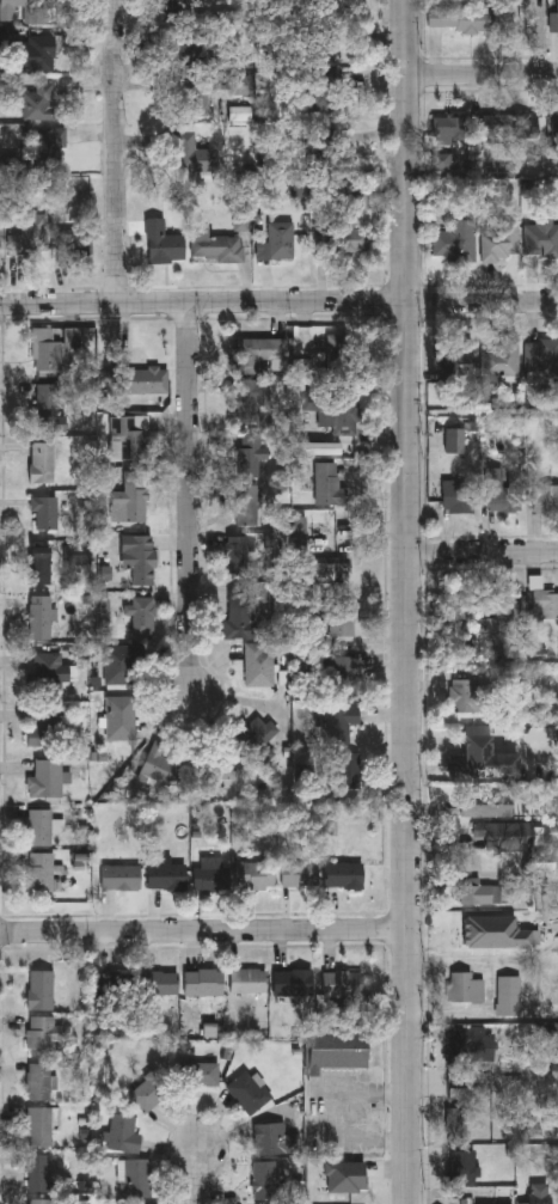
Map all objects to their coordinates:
building: (176, 4)
building: (327, 4)
building: (24, 10)
building: (436, 19)
building: (474, 22)
building: (553, 23)
road: (541, 37)
building: (41, 53)
road: (483, 75)
building: (41, 102)
building: (507, 126)
building: (554, 126)
building: (447, 128)
building: (192, 151)
road: (116, 152)
building: (354, 196)
building: (441, 206)
building: (343, 239)
building: (540, 239)
building: (498, 240)
building: (29, 242)
building: (163, 242)
building: (276, 242)
building: (455, 242)
building: (74, 245)
building: (216, 245)
building: (0, 247)
road: (483, 302)
road: (203, 304)
building: (48, 349)
building: (251, 355)
building: (343, 357)
building: (541, 359)
building: (454, 361)
building: (501, 362)
building: (145, 380)
building: (252, 399)
building: (49, 409)
building: (335, 411)
building: (125, 438)
building: (454, 441)
building: (317, 450)
building: (250, 454)
building: (42, 463)
building: (327, 484)
building: (458, 496)
building: (503, 496)
building: (131, 497)
road: (192, 497)
building: (545, 499)
building: (245, 505)
building: (45, 512)
road: (483, 551)
building: (78, 555)
building: (239, 555)
building: (143, 560)
building: (39, 566)
building: (329, 575)
road: (409, 601)
building: (542, 601)
building: (458, 605)
building: (504, 605)
building: (239, 613)
building: (41, 617)
building: (142, 617)
building: (342, 619)
building: (122, 665)
building: (259, 665)
building: (48, 667)
building: (342, 677)
building: (462, 696)
building: (121, 717)
building: (338, 723)
building: (48, 731)
building: (257, 734)
building: (478, 758)
building: (222, 764)
building: (161, 766)
building: (348, 771)
building: (48, 780)
building: (485, 803)
building: (42, 827)
building: (496, 831)
building: (41, 873)
building: (167, 875)
building: (258, 875)
building: (345, 875)
building: (300, 876)
building: (122, 878)
building: (209, 879)
building: (477, 893)
road: (204, 931)
building: (249, 980)
building: (160, 983)
building: (201, 983)
building: (293, 983)
building: (343, 983)
building: (464, 988)
building: (41, 990)
building: (114, 990)
building: (508, 995)
building: (43, 1034)
building: (466, 1046)
building: (336, 1051)
building: (202, 1074)
building: (38, 1081)
building: (149, 1090)
building: (249, 1092)
building: (455, 1122)
building: (41, 1126)
building: (123, 1133)
building: (275, 1139)
building: (461, 1166)
building: (38, 1173)
road: (198, 1177)
building: (135, 1178)
building: (266, 1180)
building: (331, 1181)
building: (540, 1193)
building: (41, 1200)

